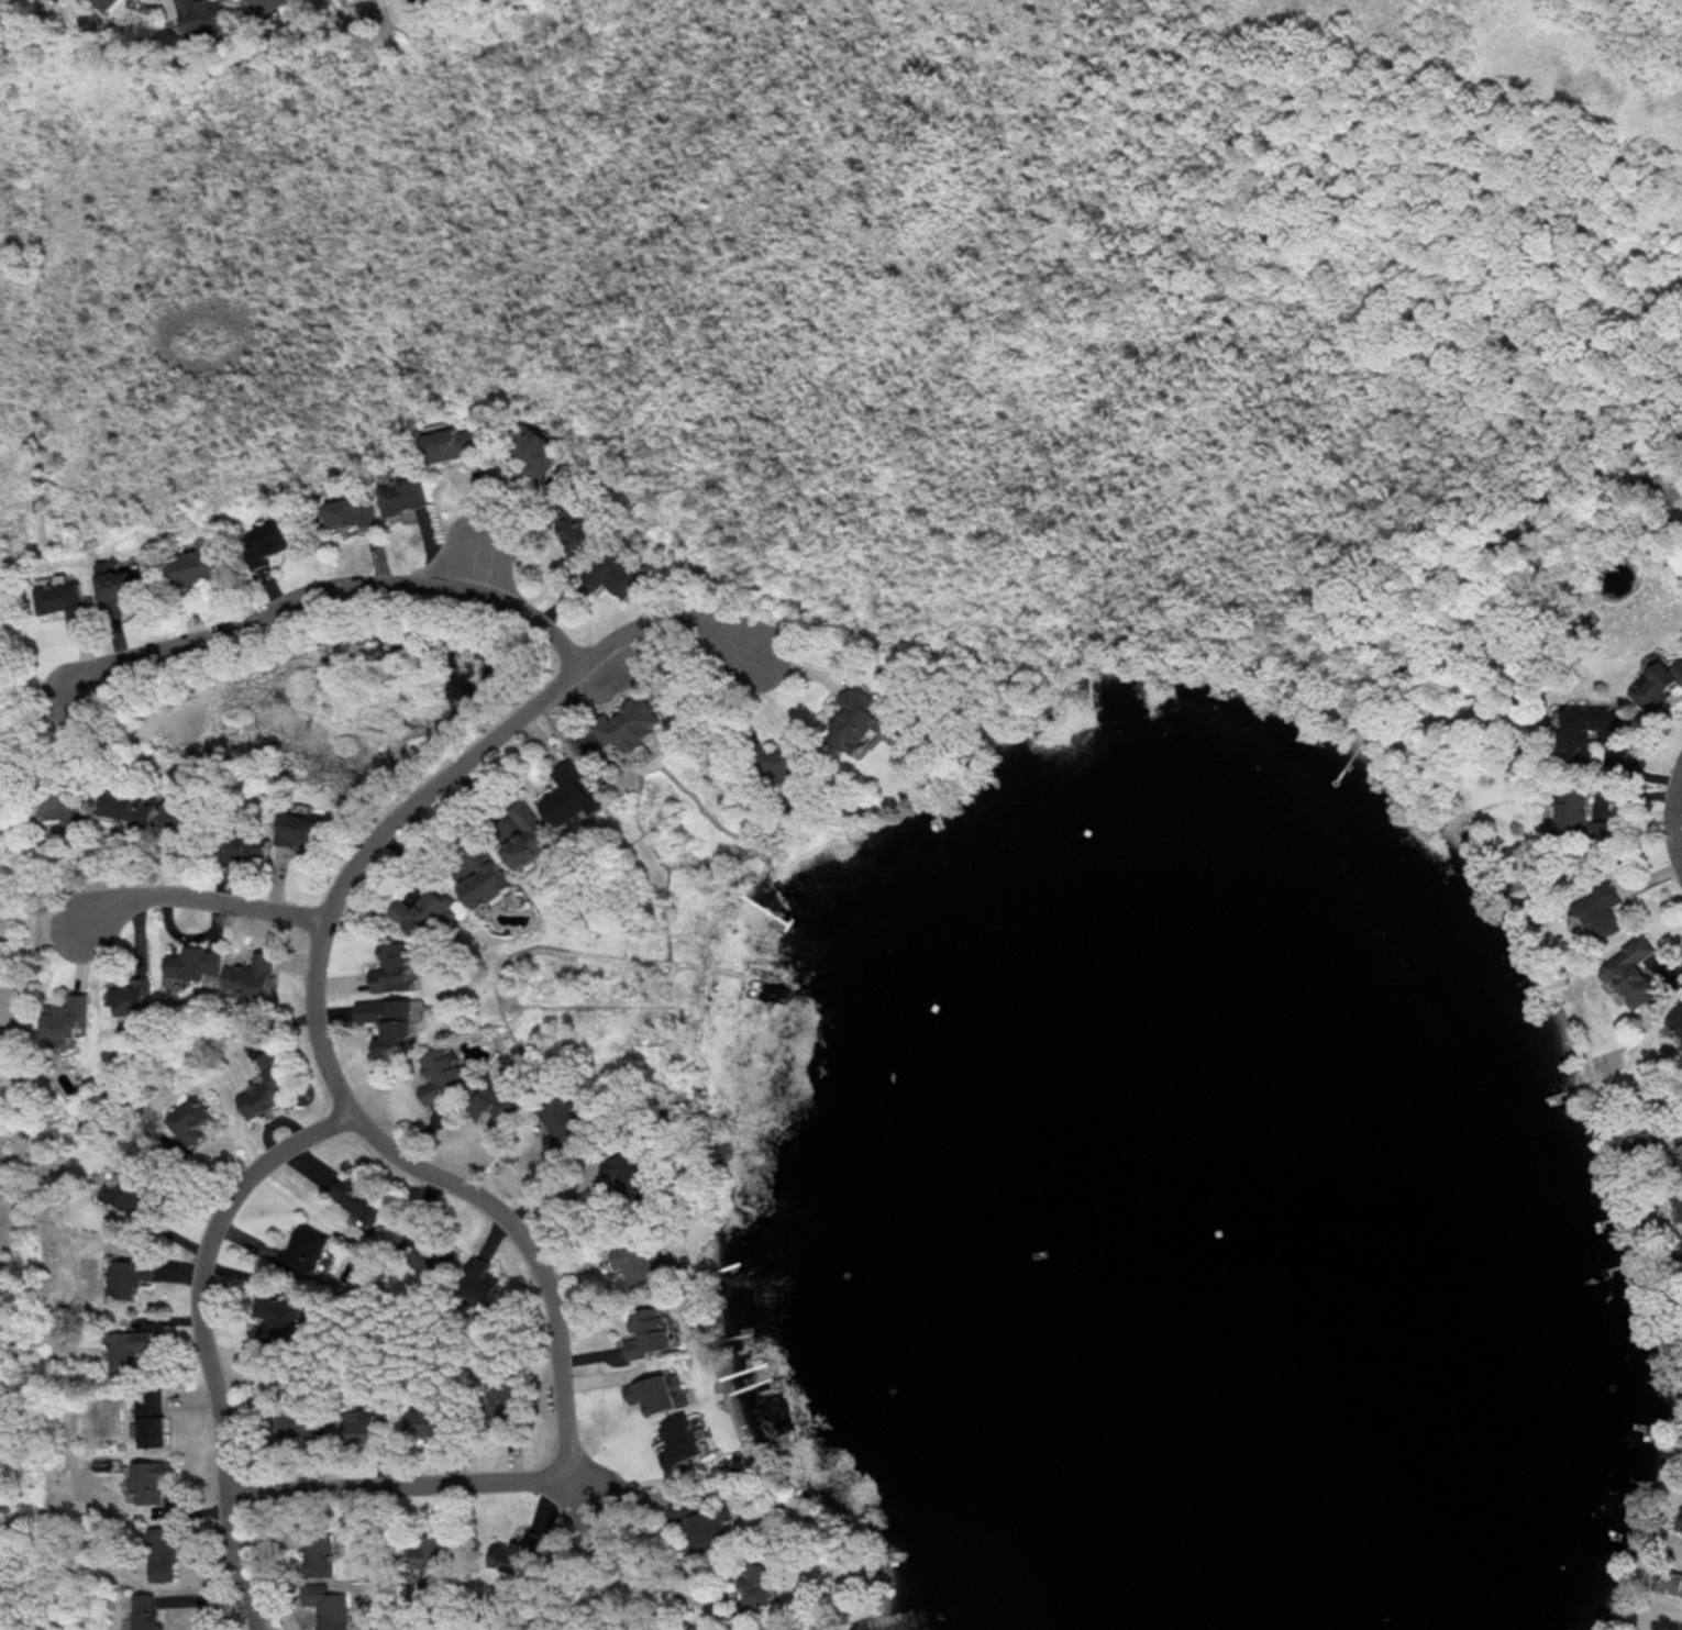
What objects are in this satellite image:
building: (104, 3)
building: (203, 15)
building: (451, 442)
building: (538, 454)
building: (402, 492)
building: (350, 511)
road: (473, 526)
building: (576, 526)
building: (268, 537)
road: (500, 540)
building: (196, 565)
building: (615, 574)
building: (120, 581)
road: (332, 589)
building: (62, 601)
road: (23, 673)
building: (1656, 686)
building: (856, 718)
building: (630, 724)
building: (1586, 730)
building: (569, 796)
building: (131, 807)
building: (64, 809)
building: (179, 812)
building: (1572, 812)
road: (1673, 822)
building: (302, 825)
building: (528, 835)
building: (247, 847)
building: (485, 878)
road: (206, 900)
building: (1601, 911)
building: (424, 912)
building: (195, 962)
building: (394, 967)
building: (253, 974)
building: (133, 997)
park: (25, 1012)
building: (67, 1018)
building: (1675, 1018)
building: (389, 1020)
building: (443, 1074)
building: (266, 1087)
building: (497, 1100)
road: (368, 1117)
building: (191, 1119)
building: (561, 1127)
building: (1641, 1143)
building: (628, 1171)
building: (125, 1190)
building: (362, 1199)
building: (1679, 1199)
road: (36, 1217)
road: (35, 1234)
road: (12, 1235)
building: (1681, 1242)
building: (303, 1250)
building: (435, 1256)
building: (635, 1261)
building: (130, 1277)
building: (478, 1279)
building: (281, 1318)
building: (649, 1332)
road: (203, 1333)
building: (130, 1349)
building: (657, 1394)
building: (508, 1406)
building: (151, 1418)
building: (303, 1423)
building: (369, 1426)
building: (680, 1443)
building: (151, 1481)
building: (1679, 1519)
building: (704, 1522)
building: (161, 1551)
building: (322, 1551)
building: (430, 1552)
road: (621, 1552)
building: (524, 1553)
building: (496, 1554)
building: (1668, 1579)
building: (756, 1583)
building: (144, 1611)

